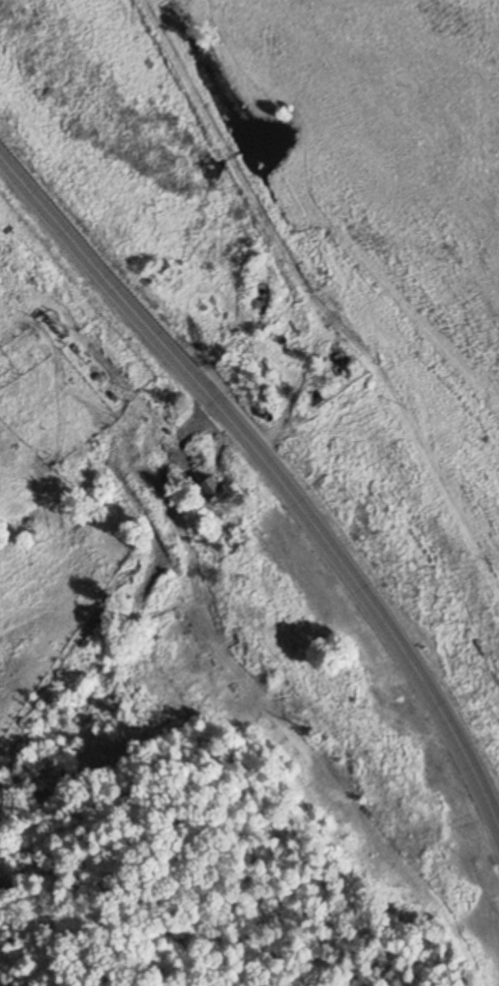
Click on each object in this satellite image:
building: (158, 274)
building: (344, 365)
road: (273, 465)
building: (217, 490)

